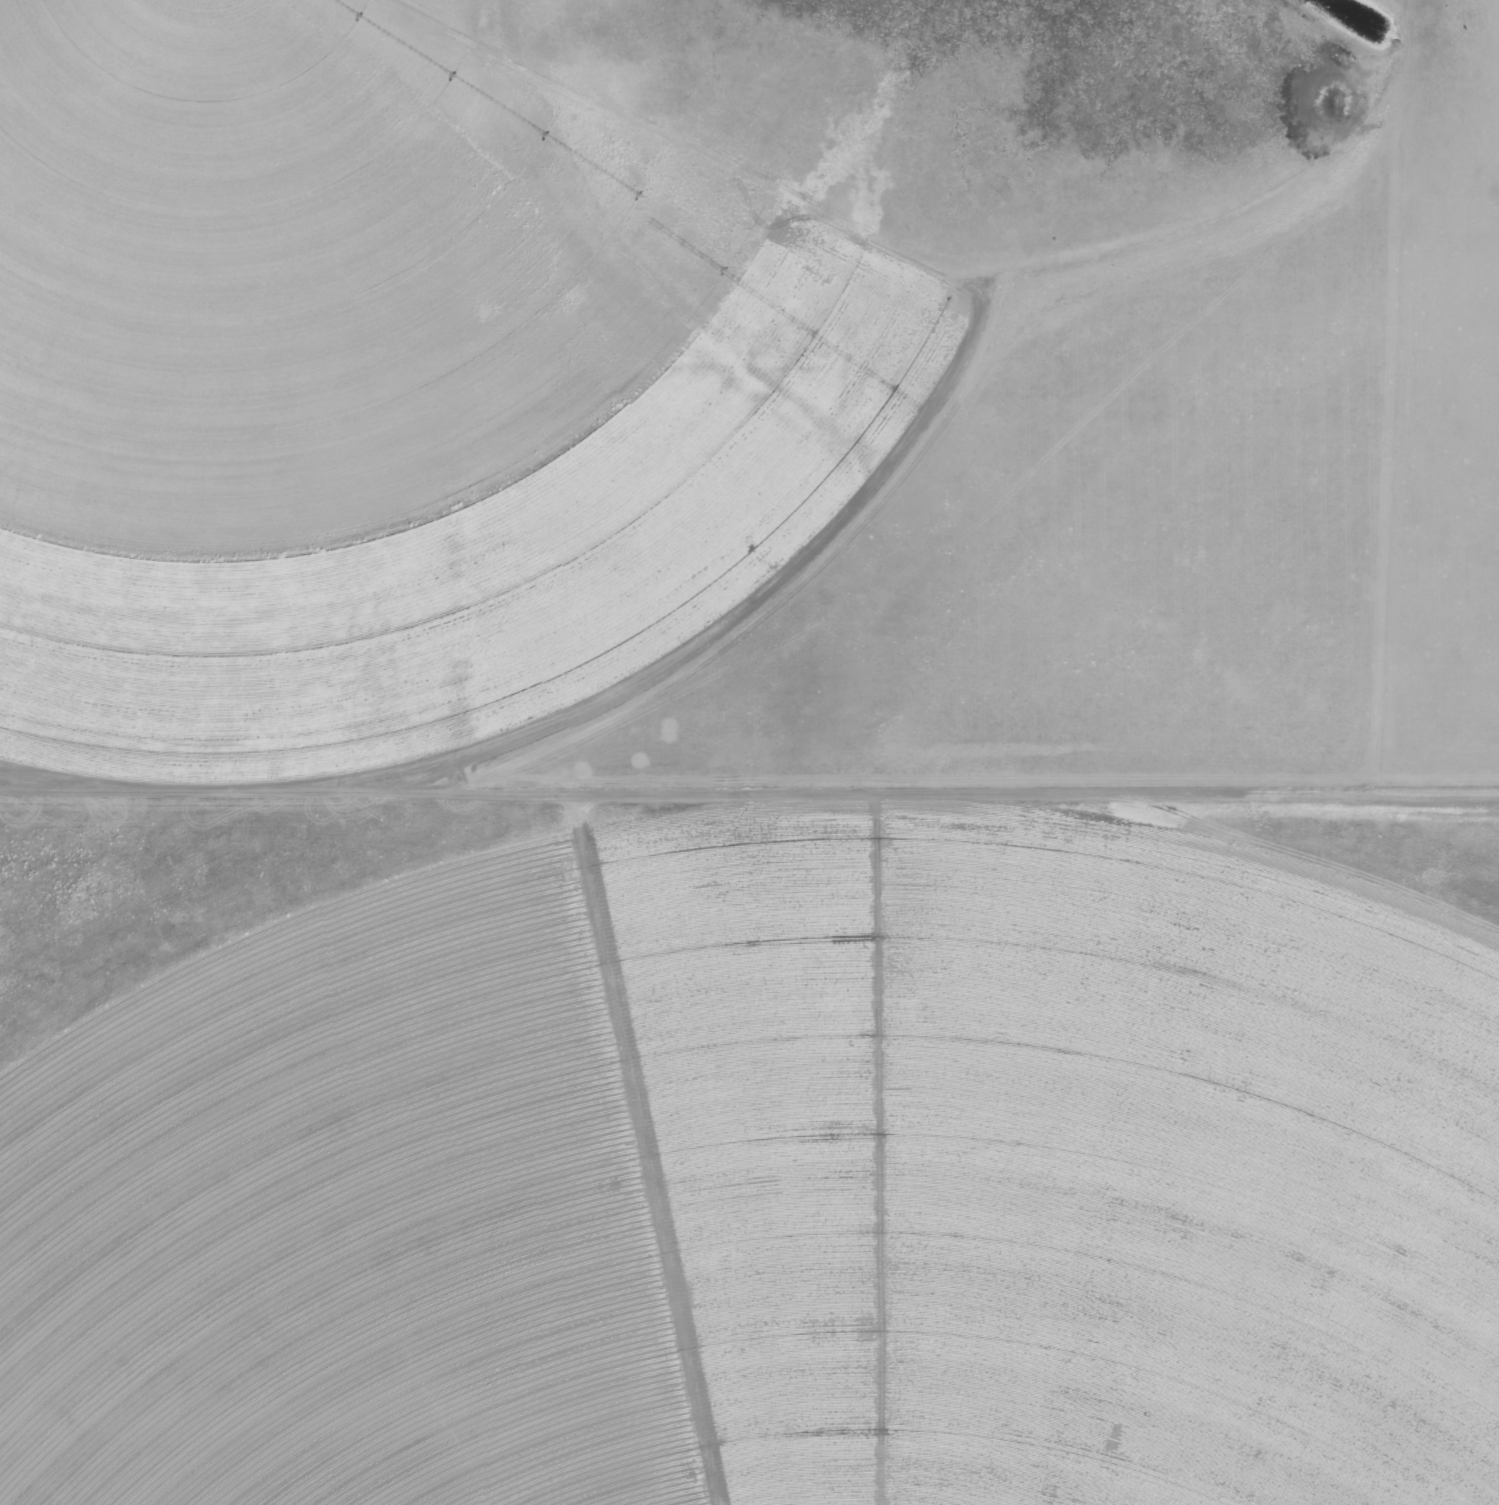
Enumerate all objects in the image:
road: (749, 785)

